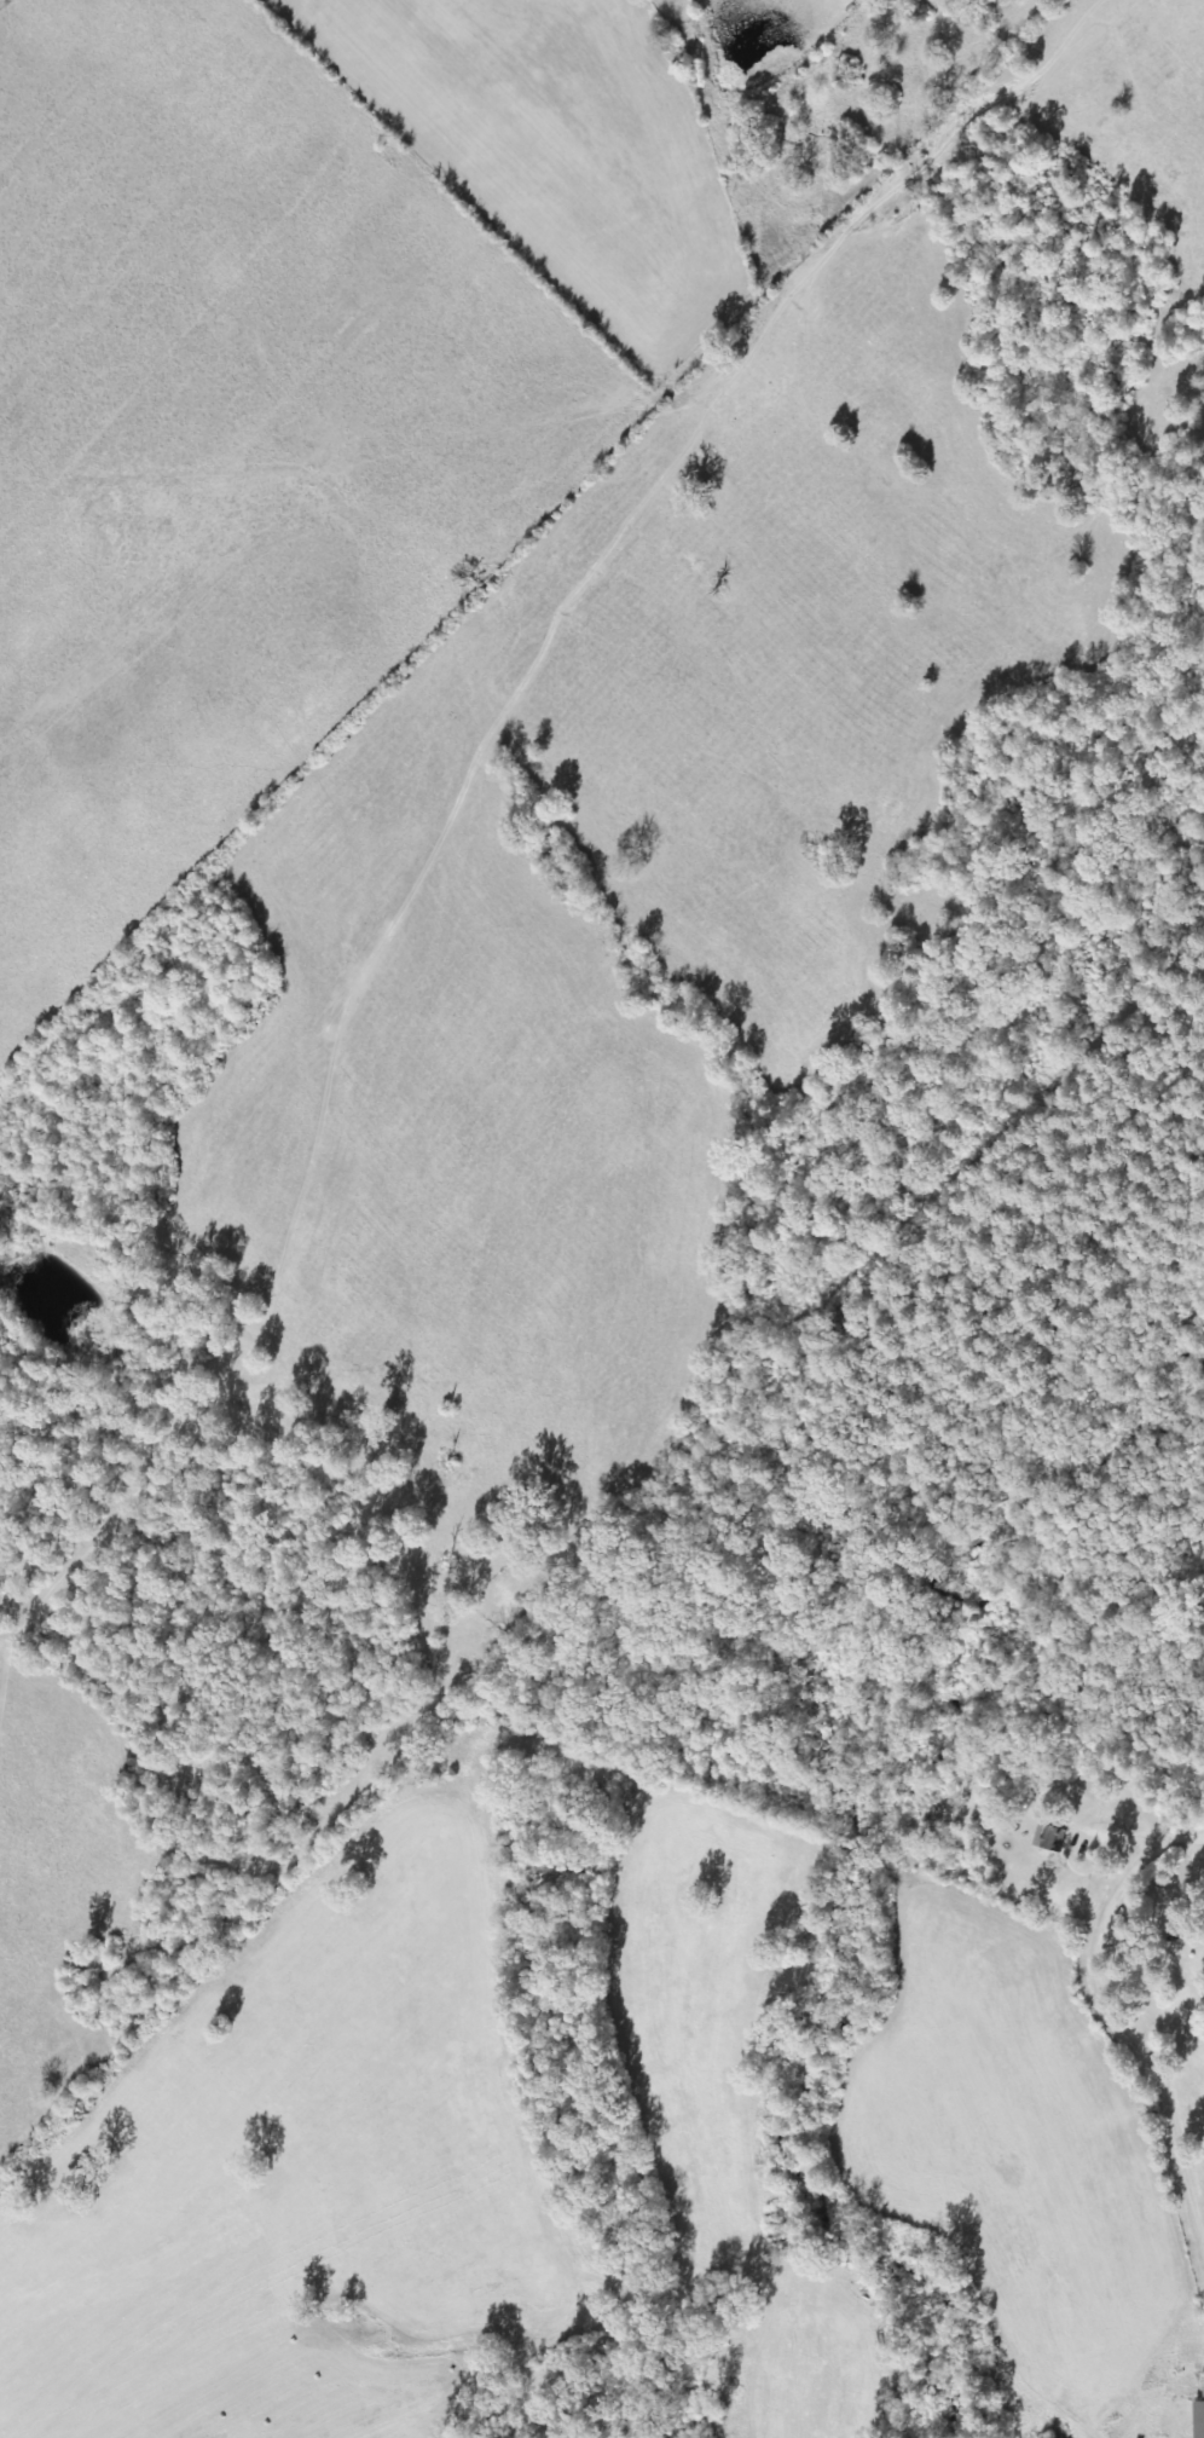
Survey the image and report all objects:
building: (1203, 1976)
road: (1105, 2063)
building: (1198, 2420)

